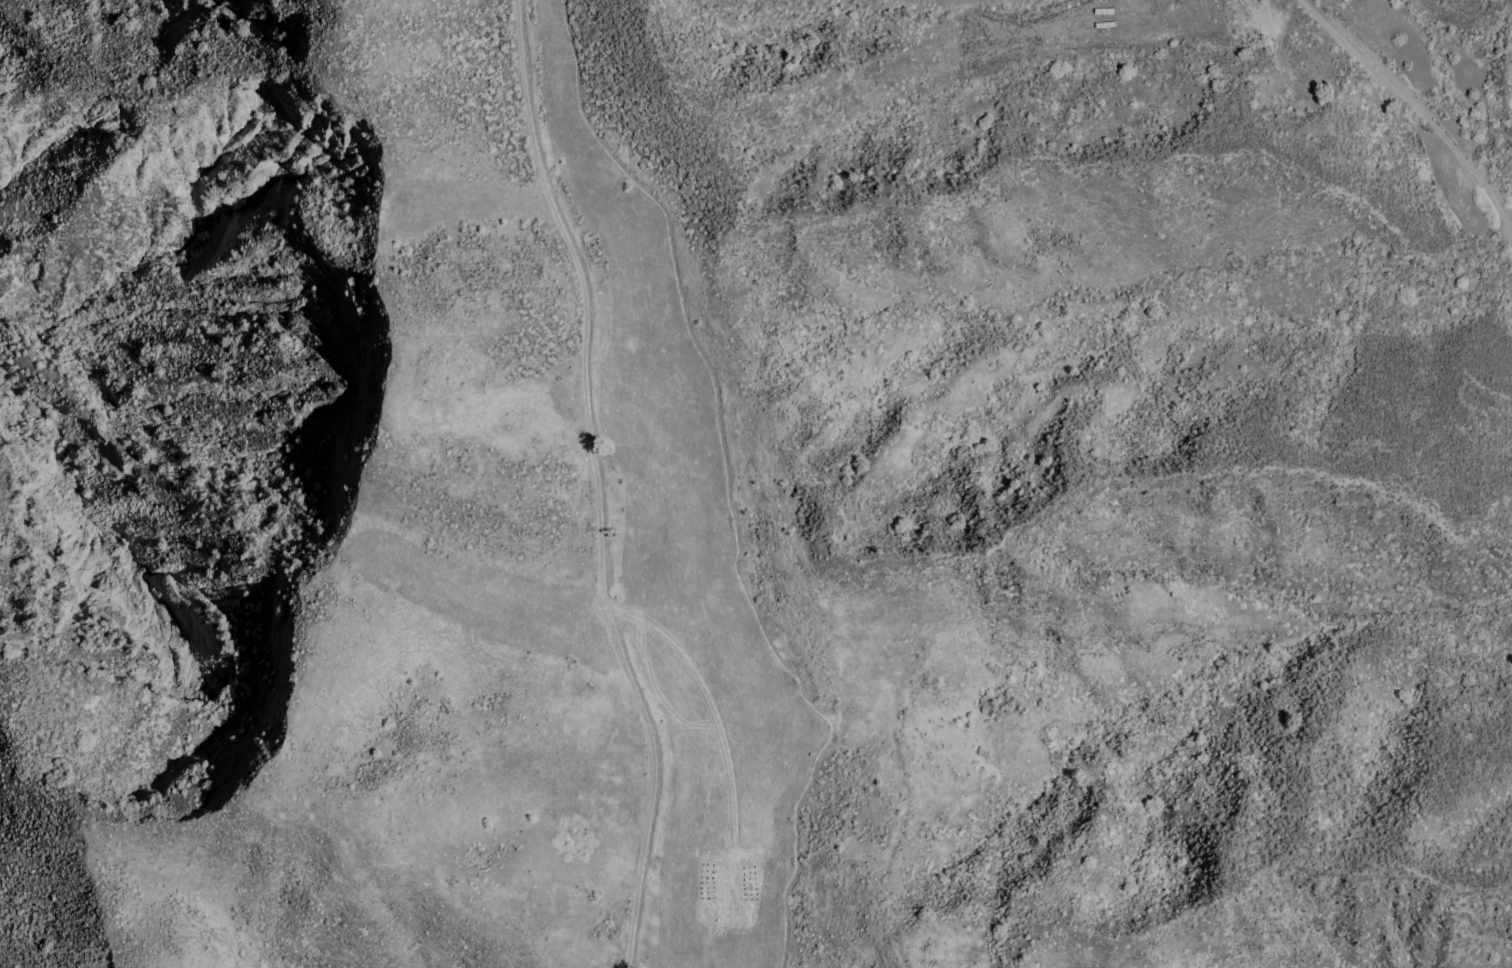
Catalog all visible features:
road: (1415, 111)
road: (594, 483)

